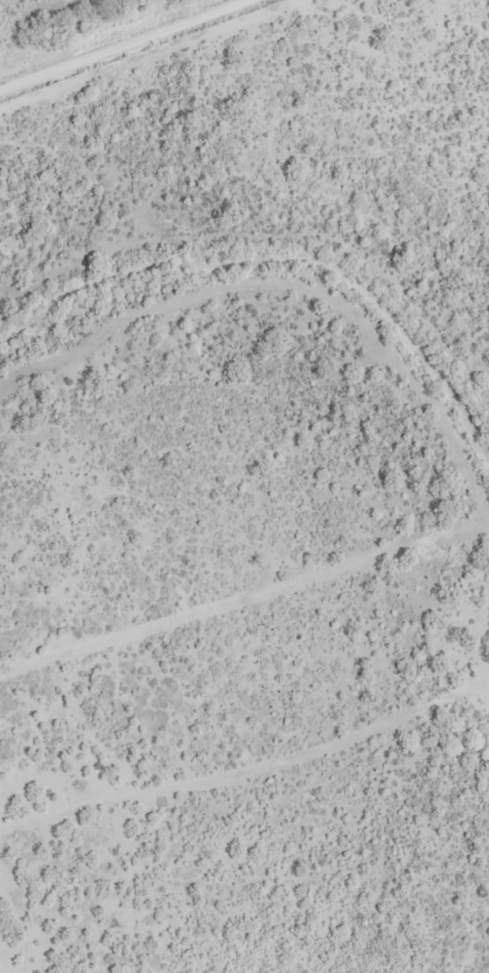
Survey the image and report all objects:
road: (125, 46)

